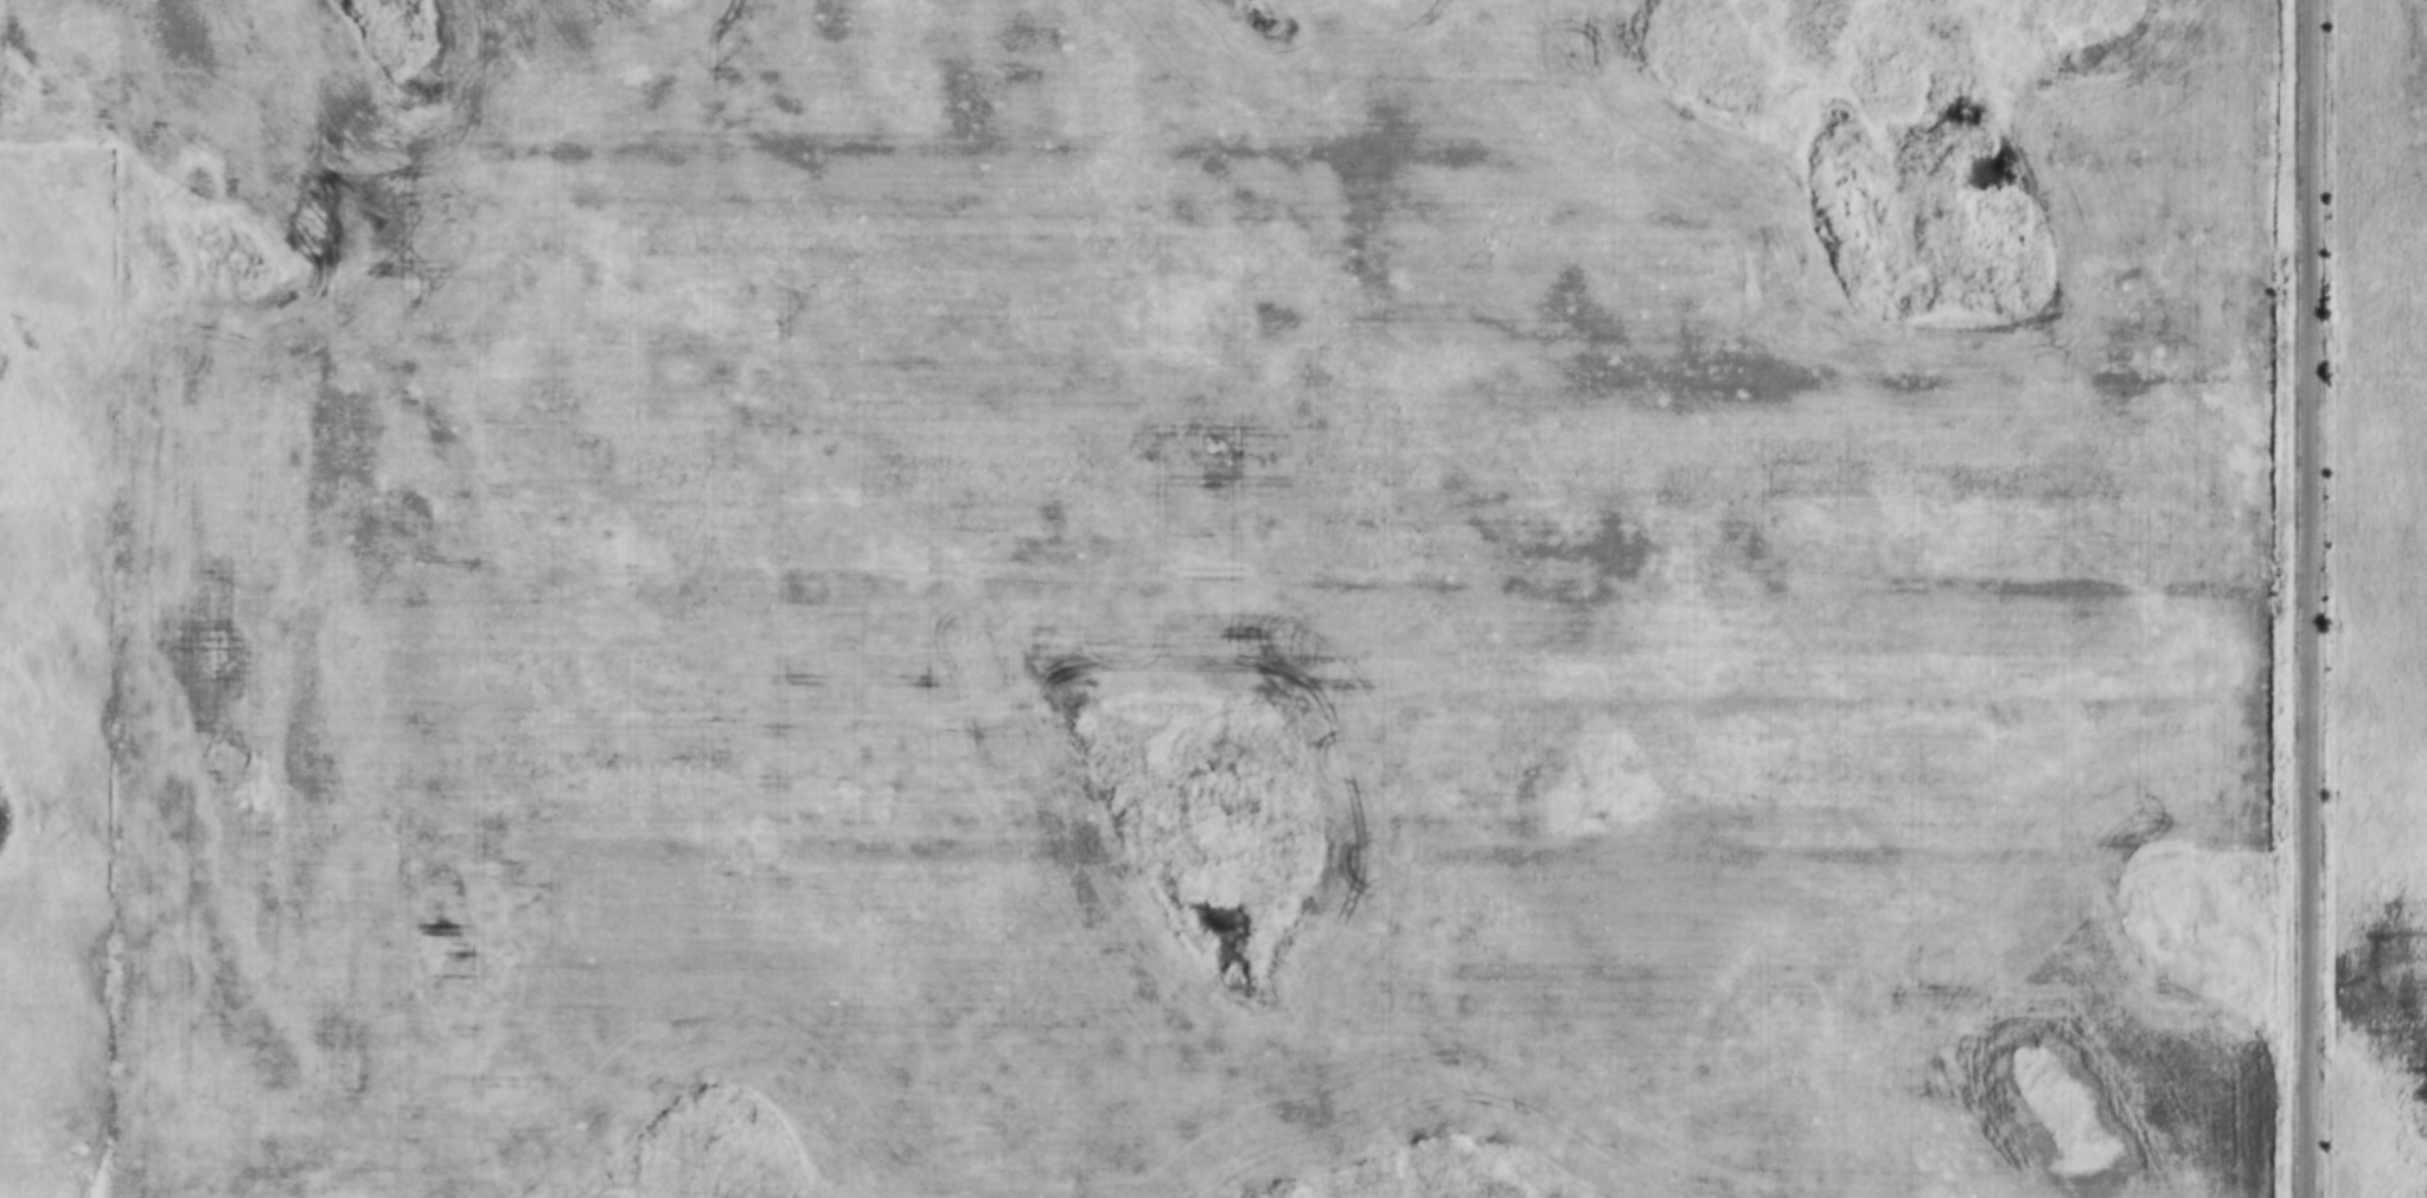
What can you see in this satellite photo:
road: (2307, 598)

